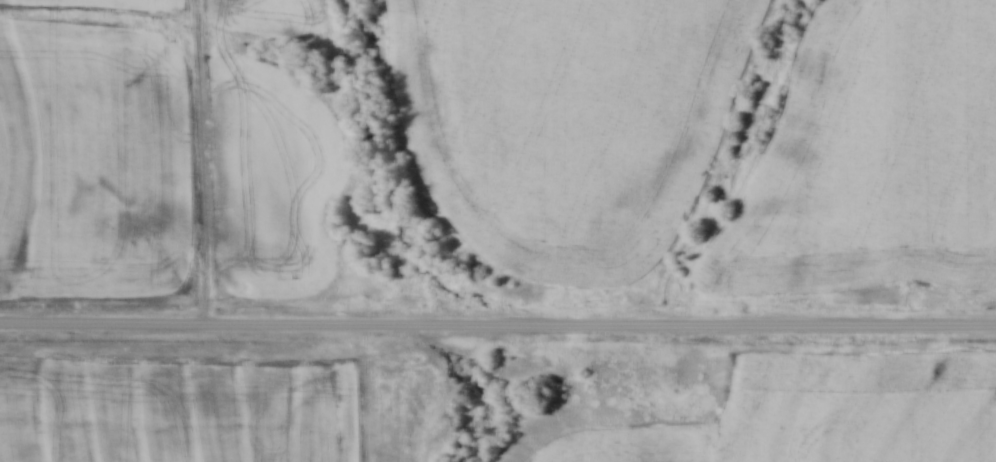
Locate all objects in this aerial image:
road: (497, 326)

